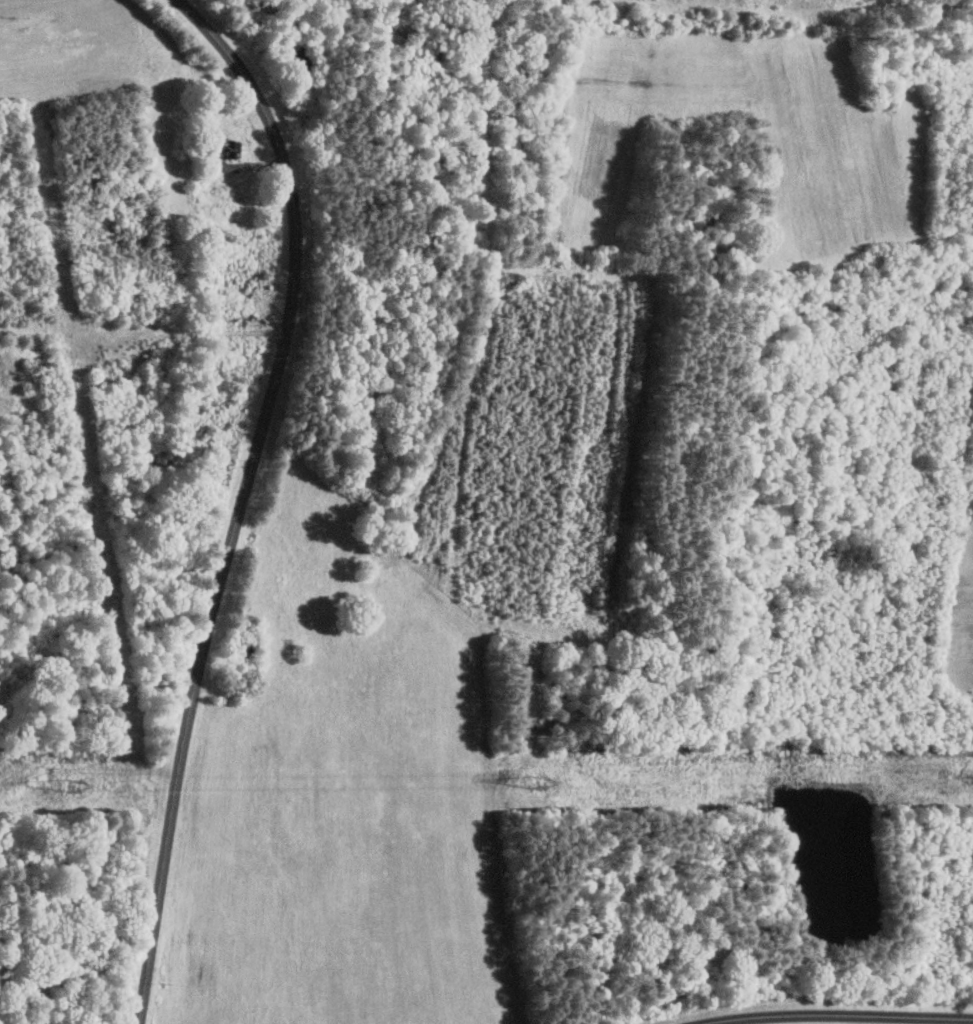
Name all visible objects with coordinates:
road: (236, 491)
power tower: (544, 783)
power tower: (77, 786)
road: (843, 1015)

